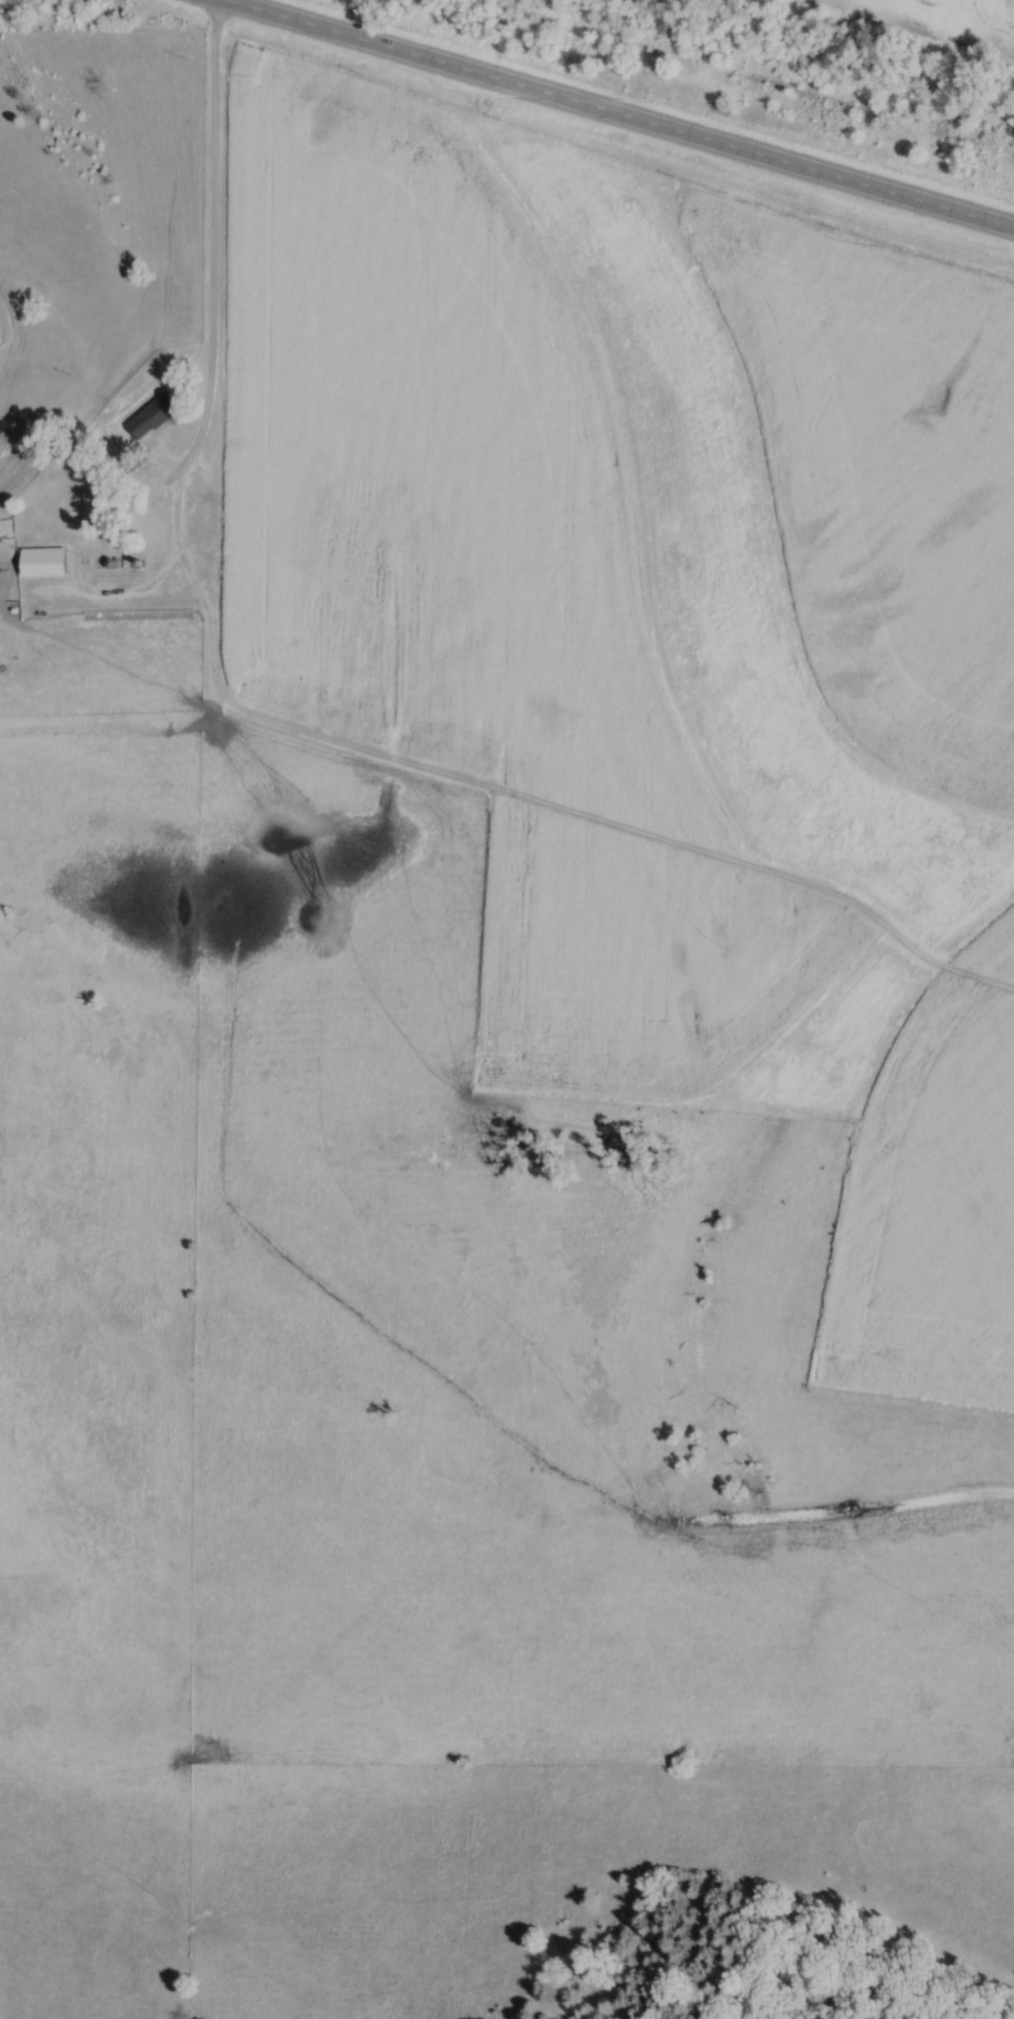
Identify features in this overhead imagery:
road: (622, 113)
road: (213, 243)
building: (154, 417)
building: (46, 558)

